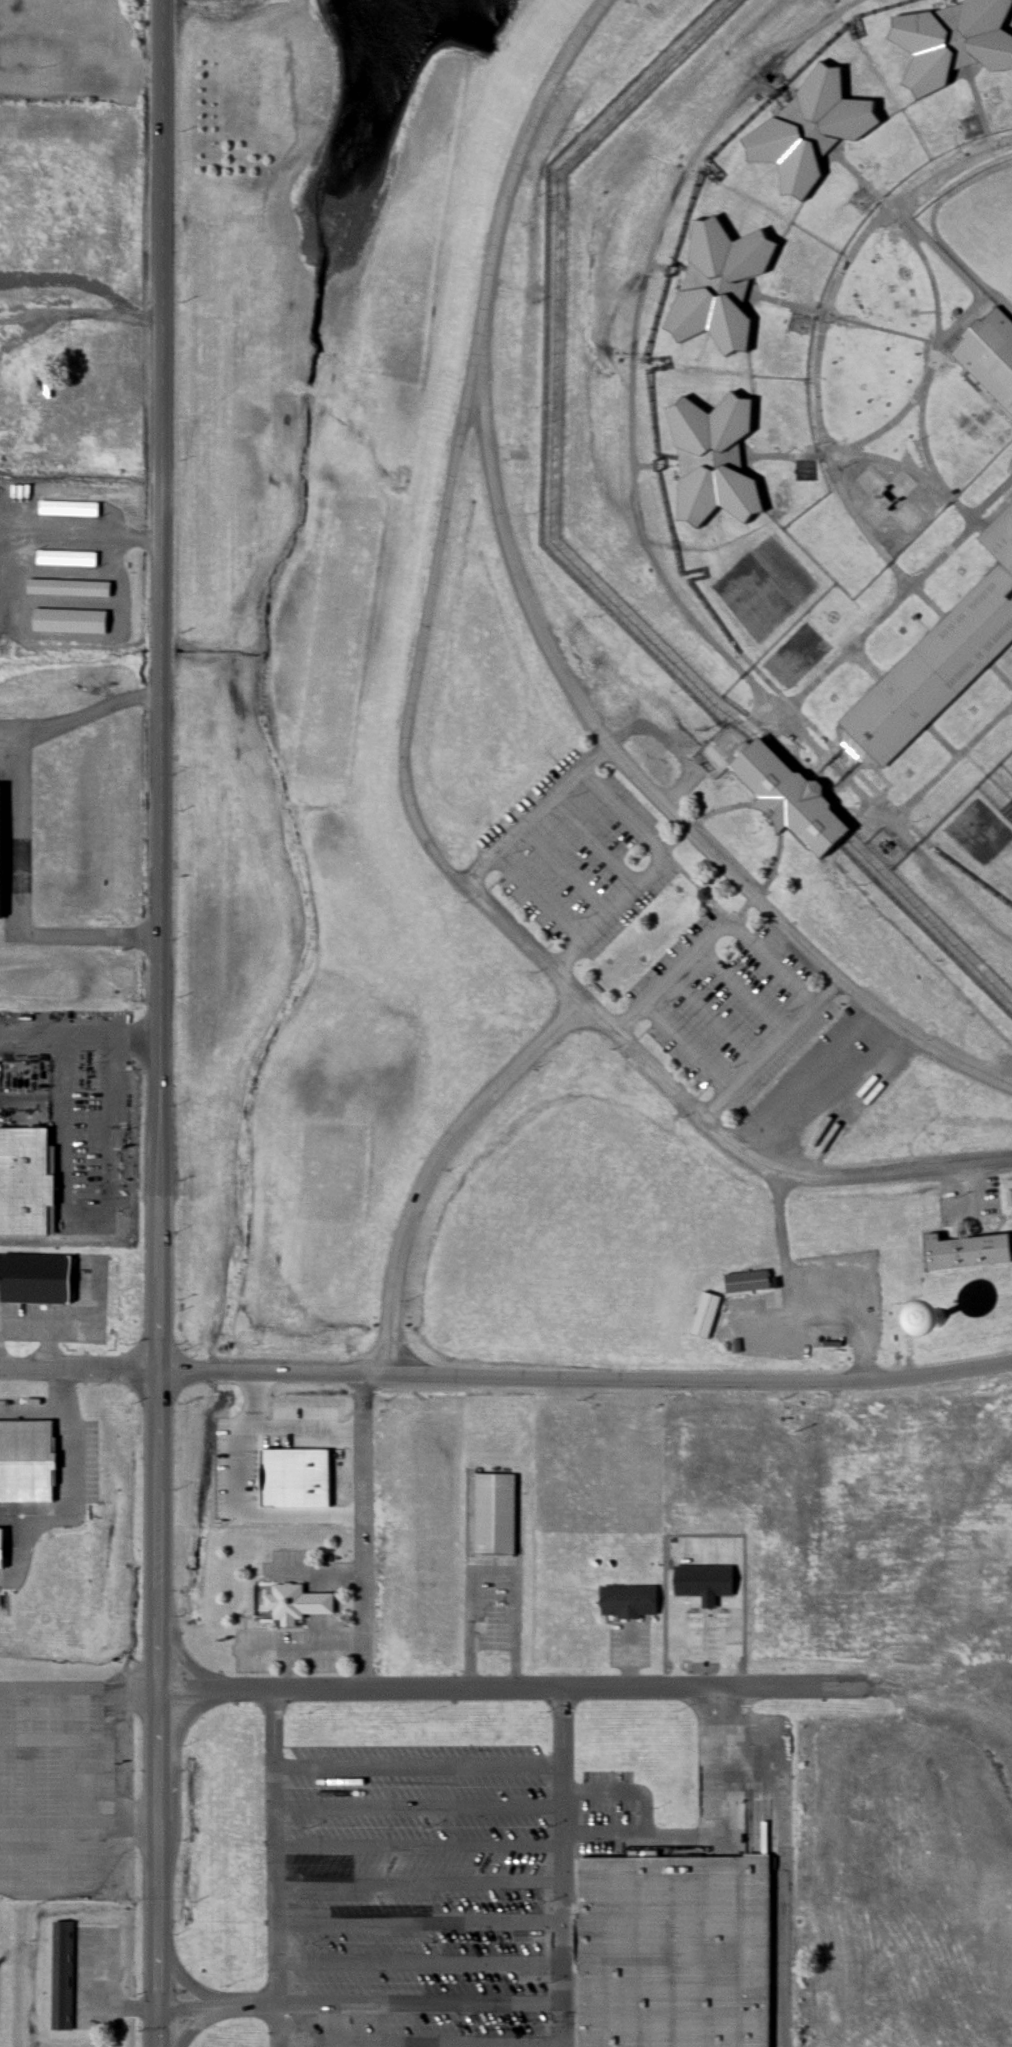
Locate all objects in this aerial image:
building: (954, 40)
road: (979, 104)
building: (809, 128)
park: (982, 224)
building: (718, 284)
road: (936, 308)
road: (636, 314)
road: (933, 341)
road: (815, 350)
building: (991, 354)
road: (847, 445)
building: (712, 459)
road: (891, 461)
building: (68, 509)
road: (53, 536)
road: (144, 538)
building: (66, 559)
road: (856, 637)
building: (940, 656)
road: (864, 662)
road: (1000, 675)
road: (764, 678)
road: (755, 688)
road: (785, 709)
road: (940, 740)
road: (950, 759)
road: (829, 762)
road: (406, 763)
road: (706, 765)
road: (643, 782)
road: (877, 793)
building: (790, 796)
road: (535, 812)
road: (20, 832)
road: (593, 843)
road: (566, 869)
road: (650, 874)
road: (960, 894)
road: (538, 896)
road: (712, 934)
road: (743, 990)
road: (715, 1018)
road: (159, 1023)
road: (686, 1047)
road: (773, 1047)
road: (435, 1162)
building: (25, 1179)
building: (967, 1250)
building: (37, 1276)
building: (747, 1280)
building: (705, 1314)
water tower: (934, 1314)
road: (78, 1364)
road: (584, 1375)
road: (65, 1409)
road: (33, 1410)
building: (26, 1460)
building: (494, 1513)
road: (17, 1519)
road: (365, 1529)
building: (2, 1547)
road: (21, 1557)
road: (493, 1567)
building: (704, 1583)
building: (628, 1601)
building: (297, 1603)
road: (705, 1620)
road: (318, 1642)
road: (513, 1686)
road: (82, 1690)
road: (564, 1763)
road: (107, 1765)
road: (421, 1767)
road: (68, 1789)
road: (28, 1791)
road: (623, 1792)
road: (726, 1803)
road: (421, 1806)
road: (53, 1819)
road: (608, 1834)
road: (570, 1837)
road: (421, 1842)
road: (278, 1843)
road: (422, 1881)
road: (96, 1884)
parking lot: (431, 1889)
road: (423, 1921)
road: (564, 1922)
building: (674, 1951)
road: (423, 1962)
building: (63, 1976)
road: (208, 1993)
road: (221, 2001)
road: (424, 2001)
traffic signals: (160, 2004)
road: (223, 2012)
road: (282, 2023)
road: (565, 2025)
road: (423, 2042)

